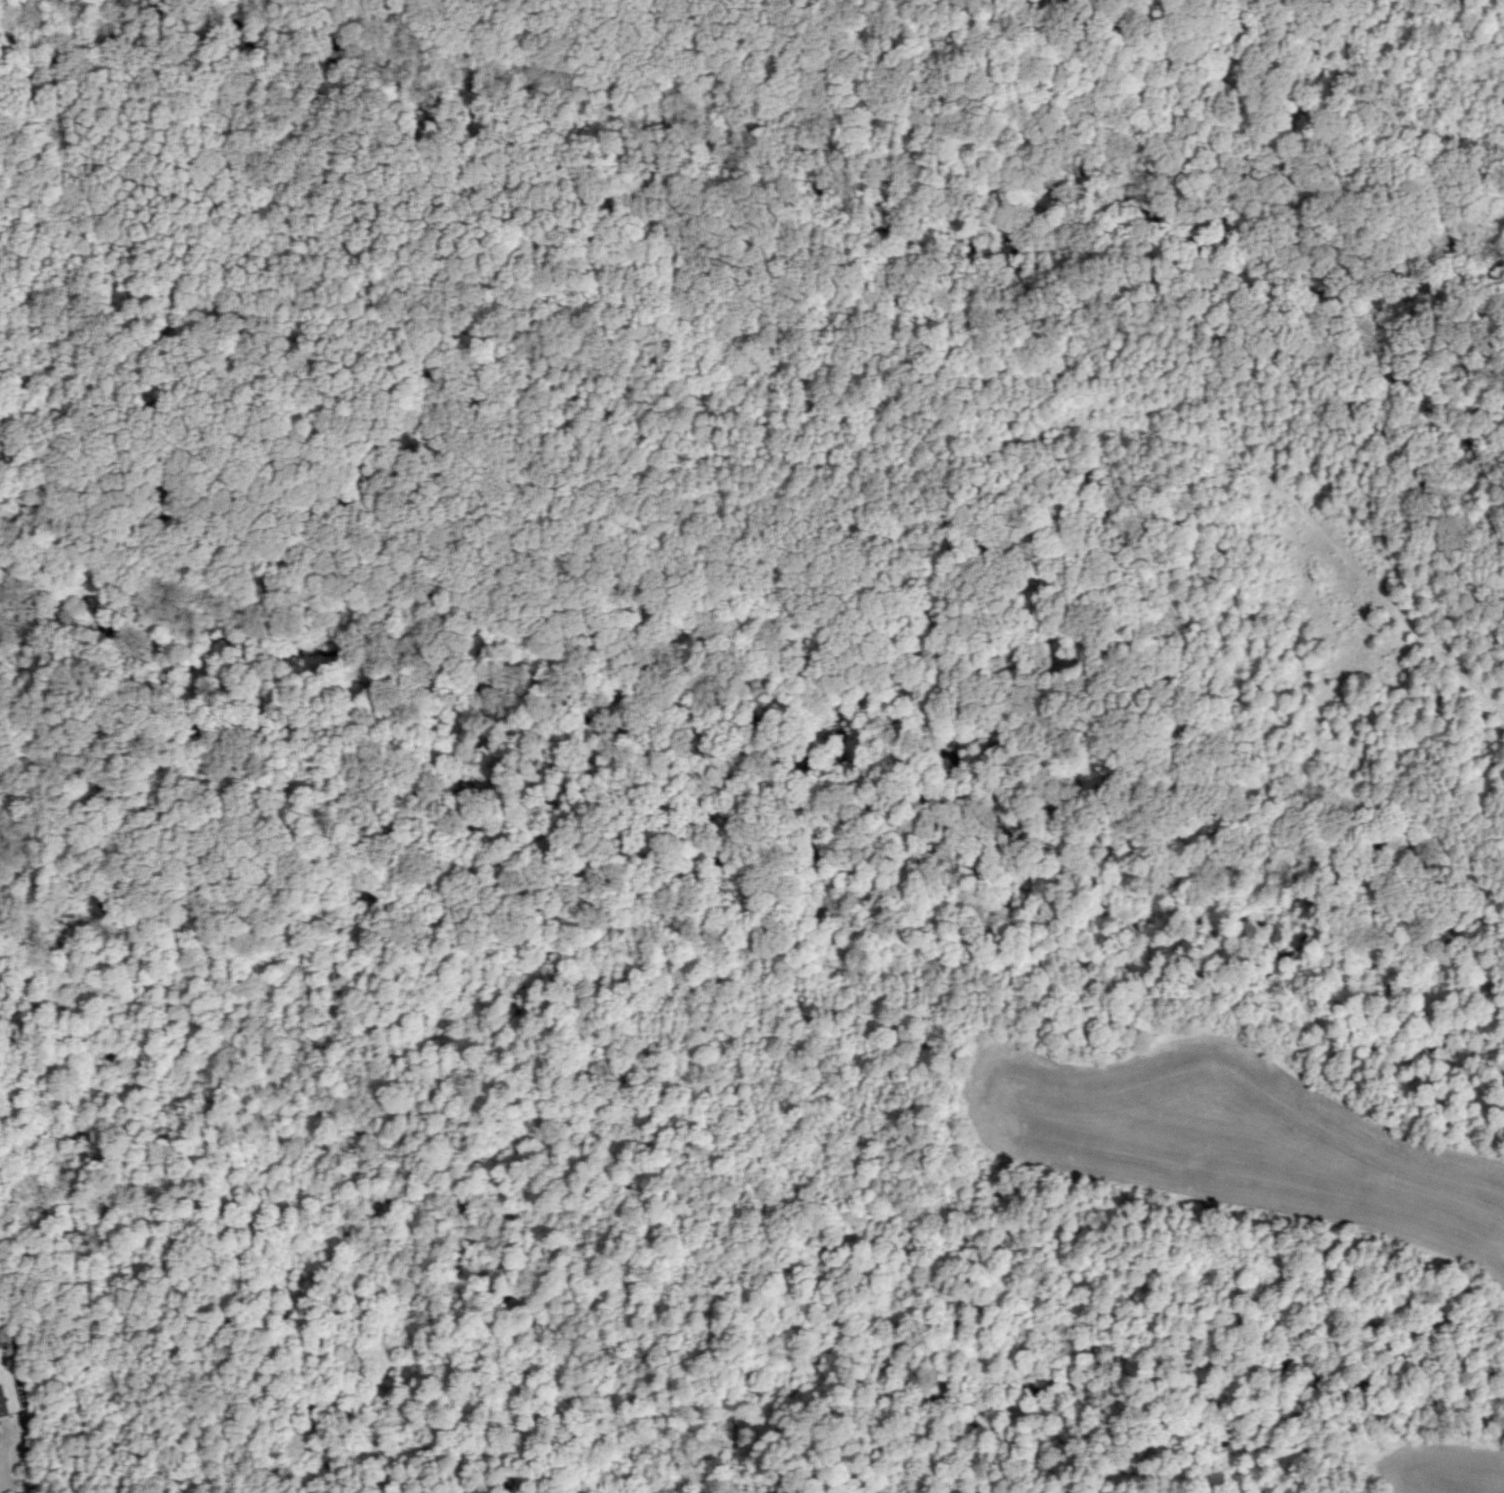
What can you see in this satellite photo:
building: (3, 1403)

